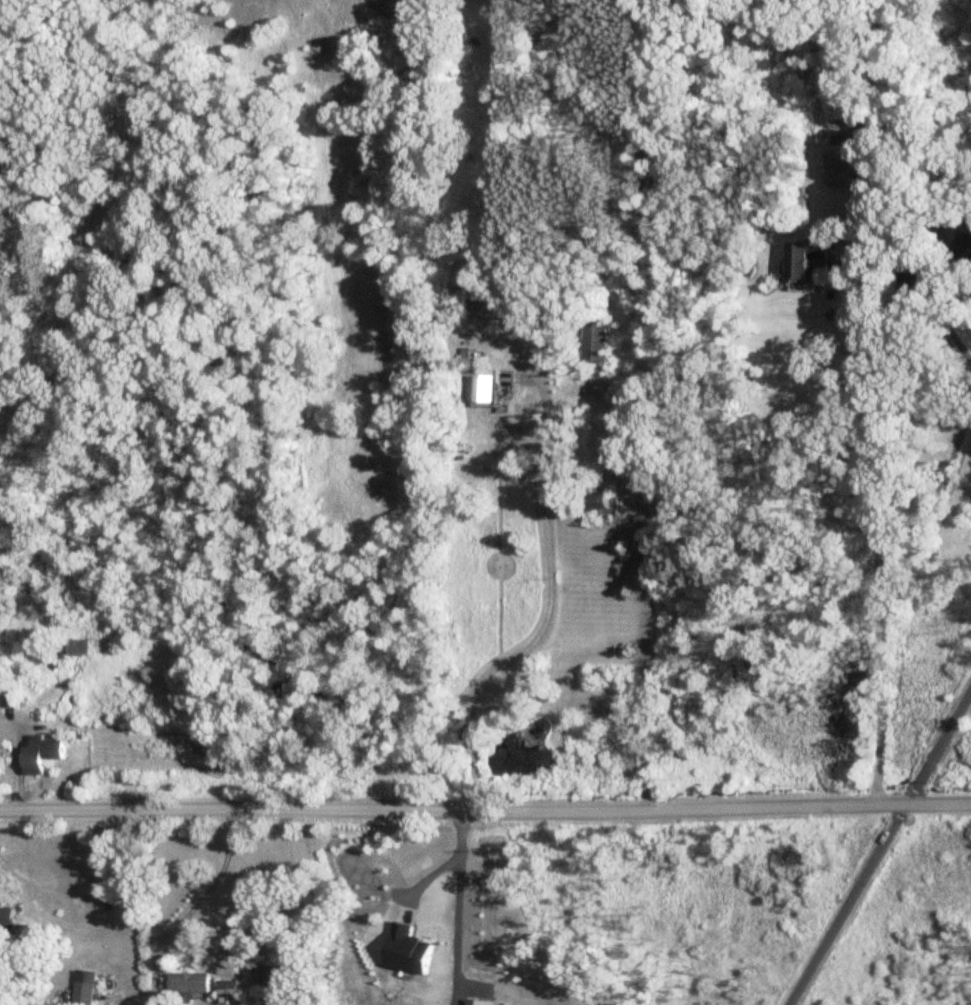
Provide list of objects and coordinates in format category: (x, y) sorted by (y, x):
building: (839, 166)
building: (965, 247)
building: (802, 263)
building: (593, 343)
building: (482, 389)
road: (869, 391)
road: (935, 491)
building: (599, 505)
road: (642, 566)
road: (549, 606)
building: (77, 648)
road: (878, 681)
building: (5, 699)
building: (39, 755)
road: (485, 811)
road: (879, 848)
road: (440, 859)
road: (305, 880)
road: (203, 897)
road: (471, 908)
building: (7, 919)
building: (276, 976)
building: (190, 984)
building: (84, 989)
building: (229, 992)

